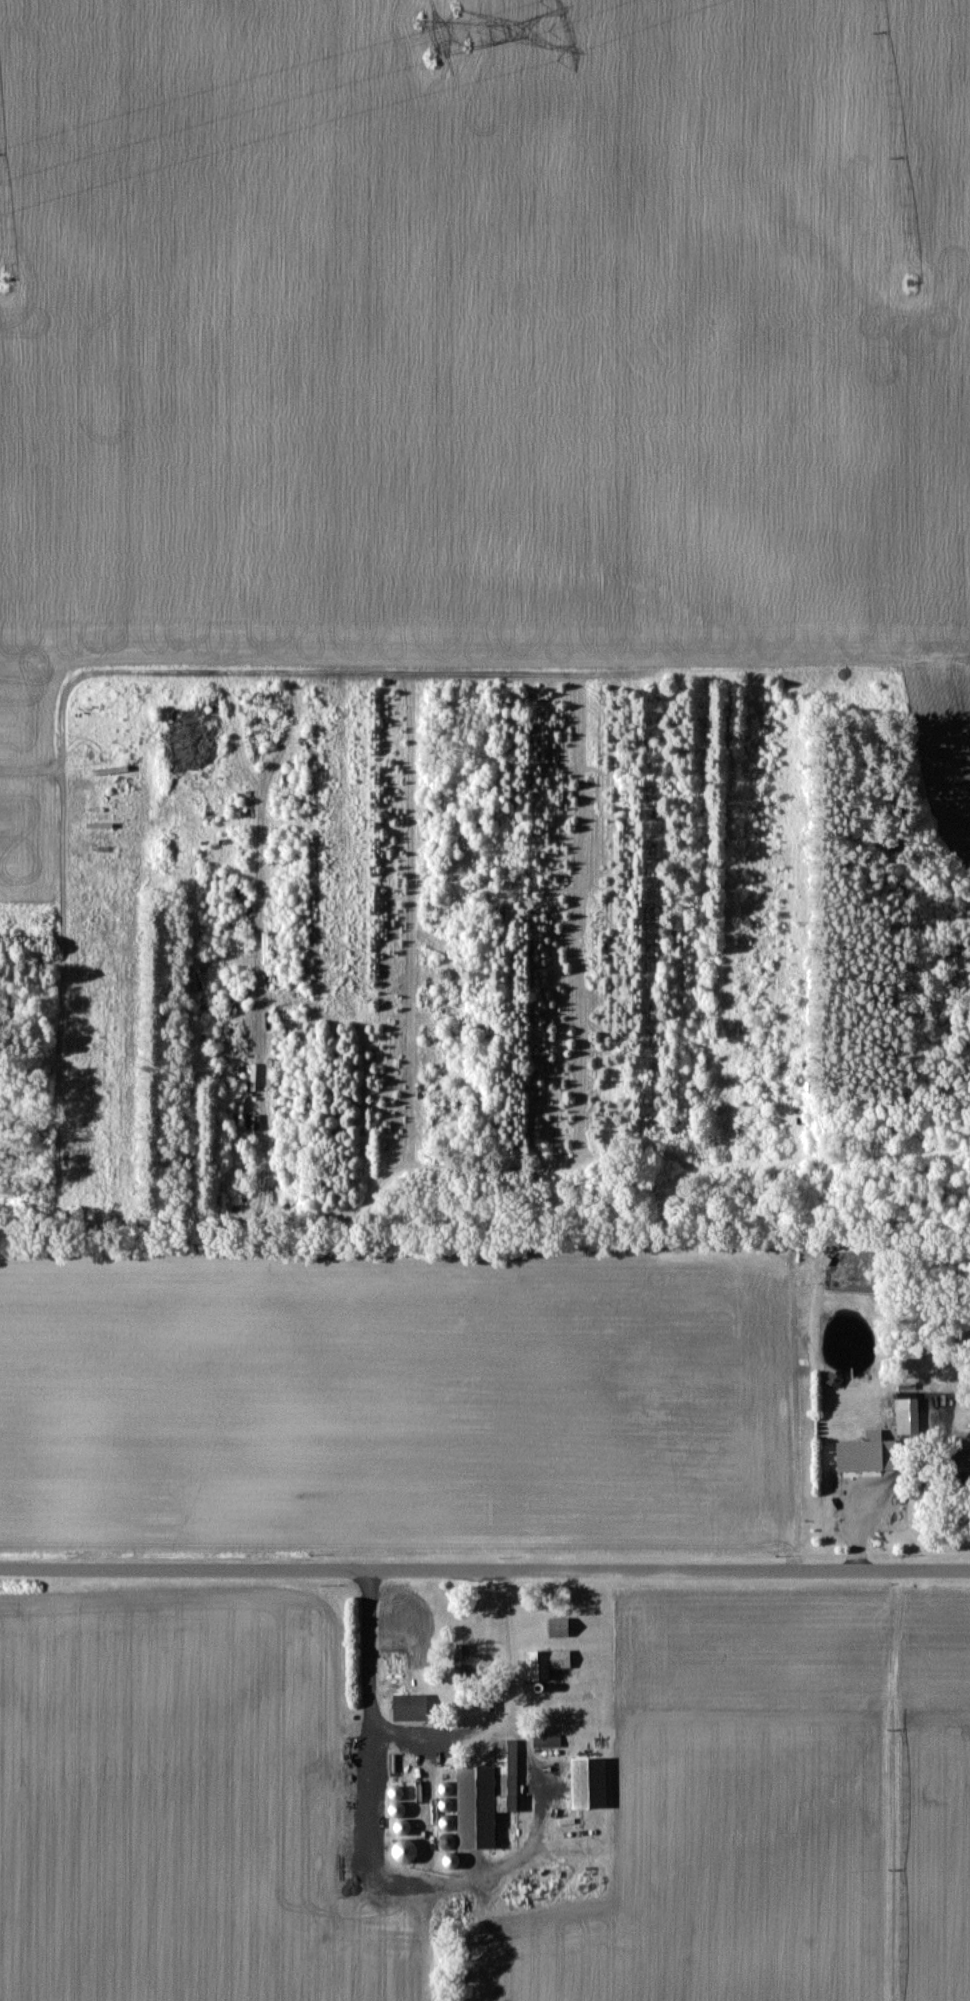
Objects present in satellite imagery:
power tower: (451, 29)
building: (266, 947)
road: (60, 988)
building: (835, 1379)
building: (908, 1415)
building: (868, 1455)
road: (948, 1470)
road: (484, 1569)
building: (560, 1627)
building: (465, 1658)
building: (547, 1664)
building: (411, 1707)
road: (440, 1731)
building: (589, 1783)
building: (485, 1797)
building: (404, 1827)
building: (406, 1851)
building: (453, 1860)

